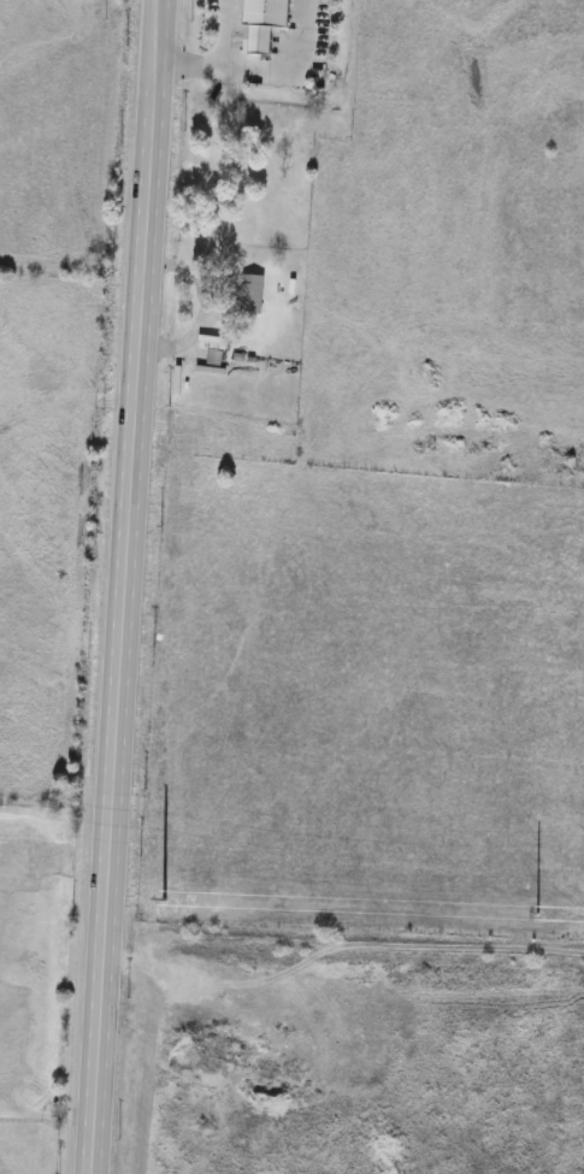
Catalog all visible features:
building: (301, 34)
road: (252, 69)
building: (197, 81)
building: (395, 200)
building: (253, 295)
building: (395, 420)
road: (112, 586)

